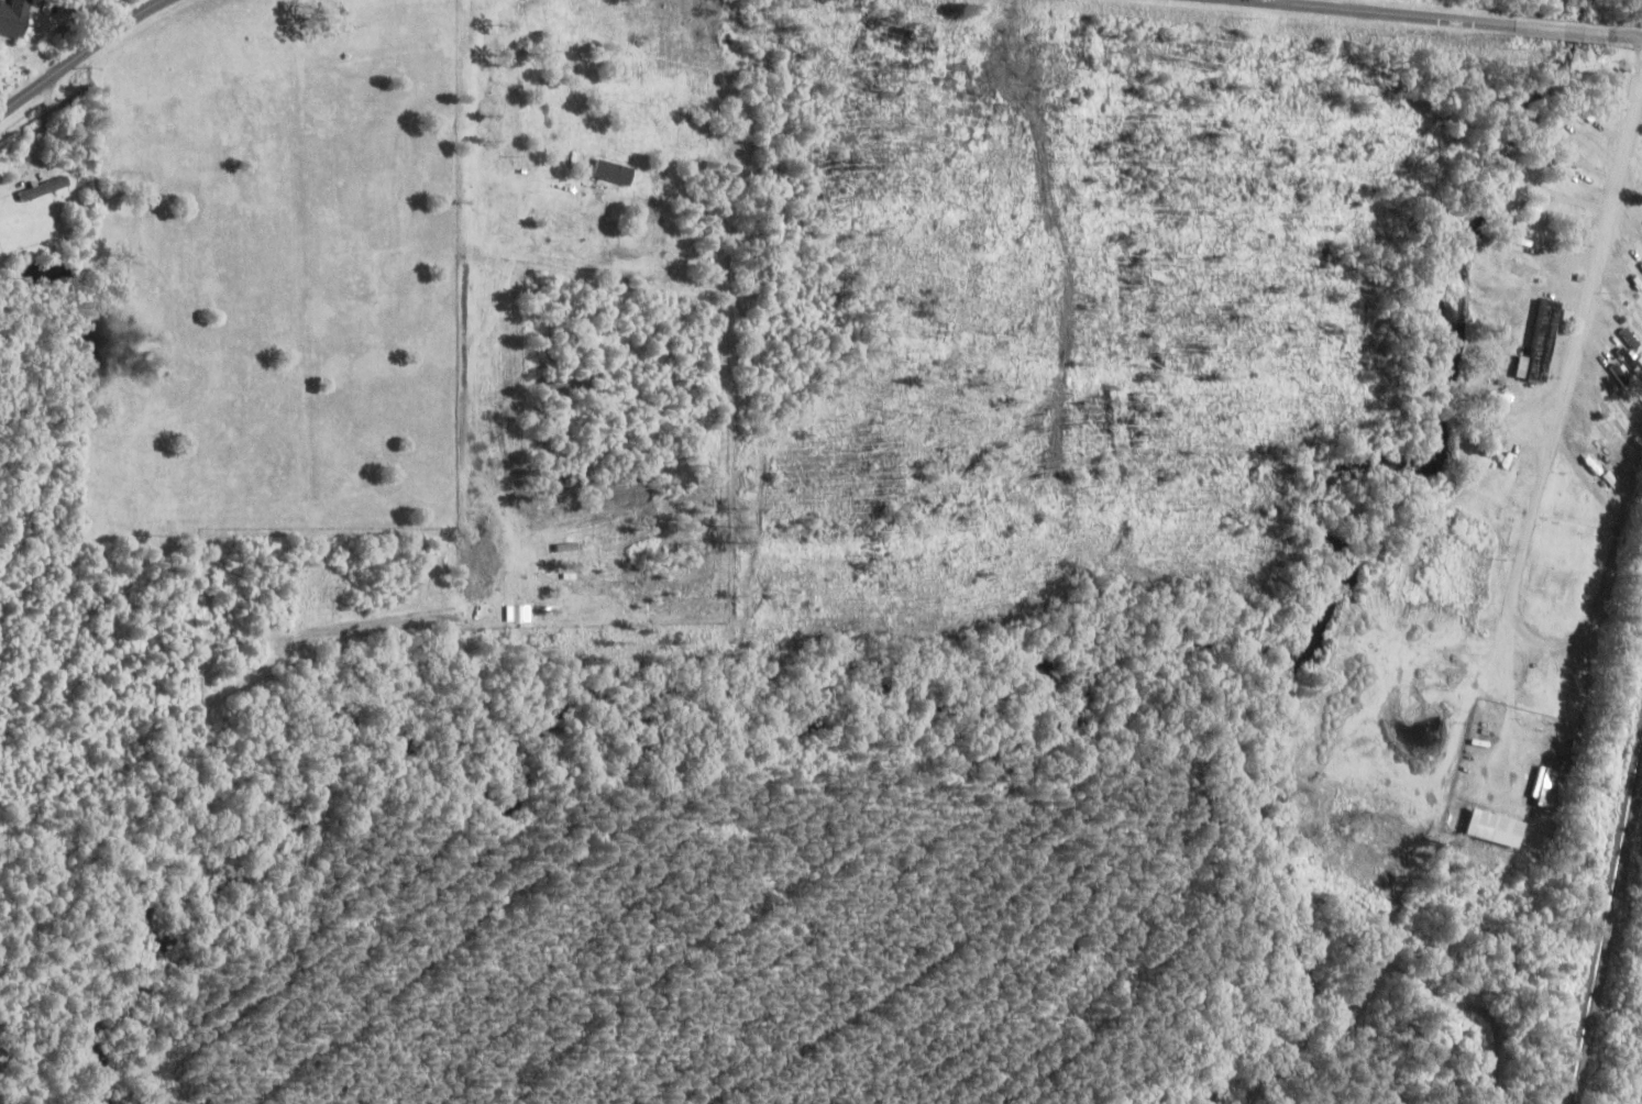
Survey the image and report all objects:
road: (1385, 12)
building: (15, 16)
road: (1562, 29)
road: (1626, 34)
road: (79, 55)
river: (1513, 128)
building: (45, 187)
building: (1543, 343)
building: (1631, 349)
road: (1523, 560)
building: (1500, 827)
railway: (1607, 927)

